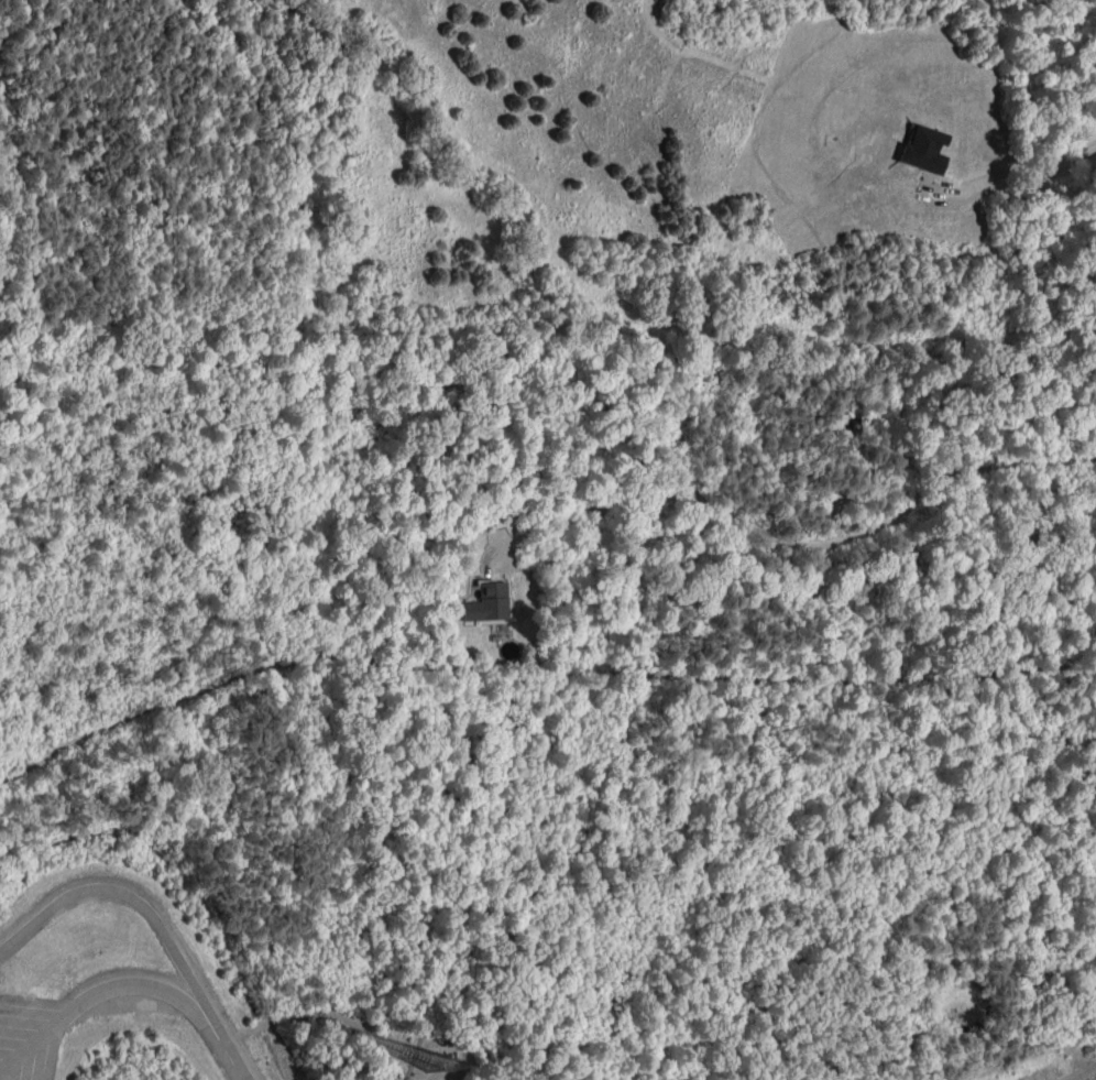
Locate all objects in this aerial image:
building: (925, 149)
road: (1021, 174)
road: (808, 543)
building: (487, 601)
road: (149, 916)
road: (124, 985)
road: (39, 997)
road: (47, 1046)
road: (239, 1074)

